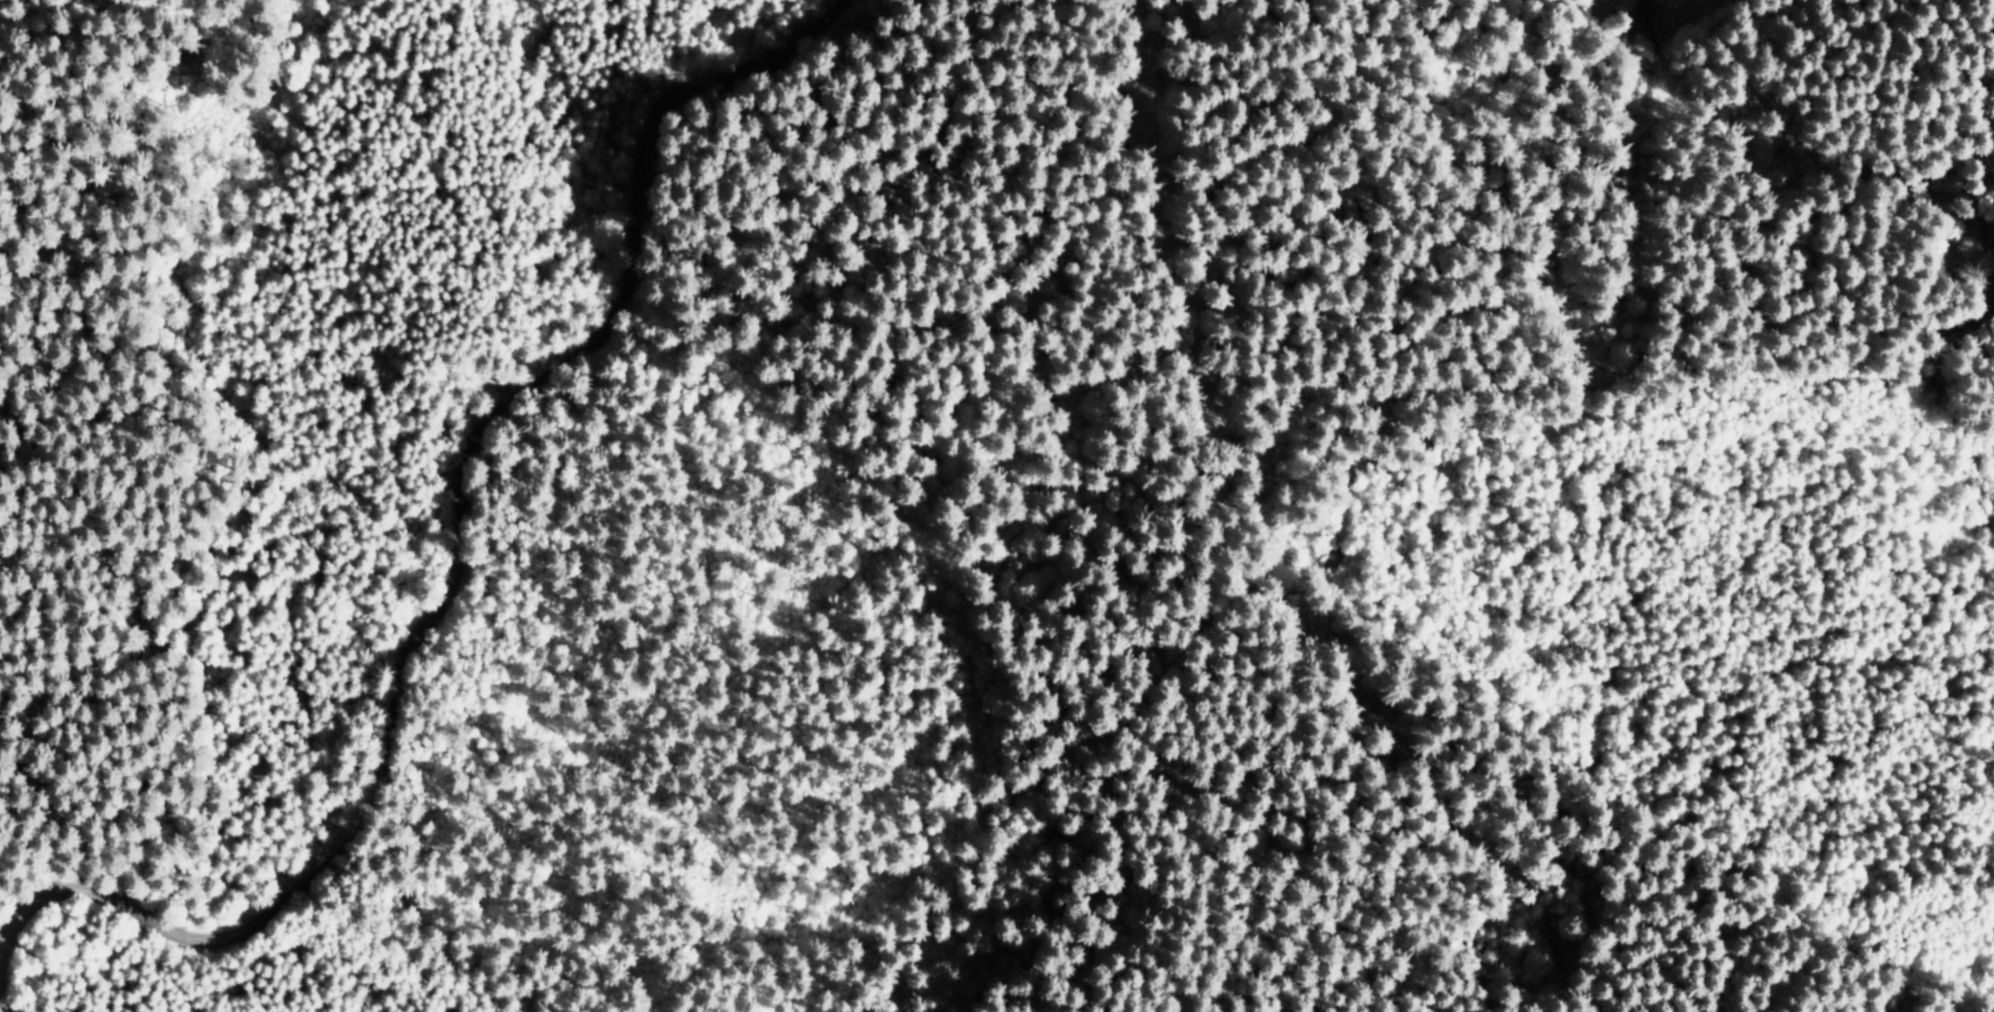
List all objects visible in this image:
road: (13, 4)
road: (226, 26)
road: (1691, 38)
road: (1287, 553)
road: (450, 563)

